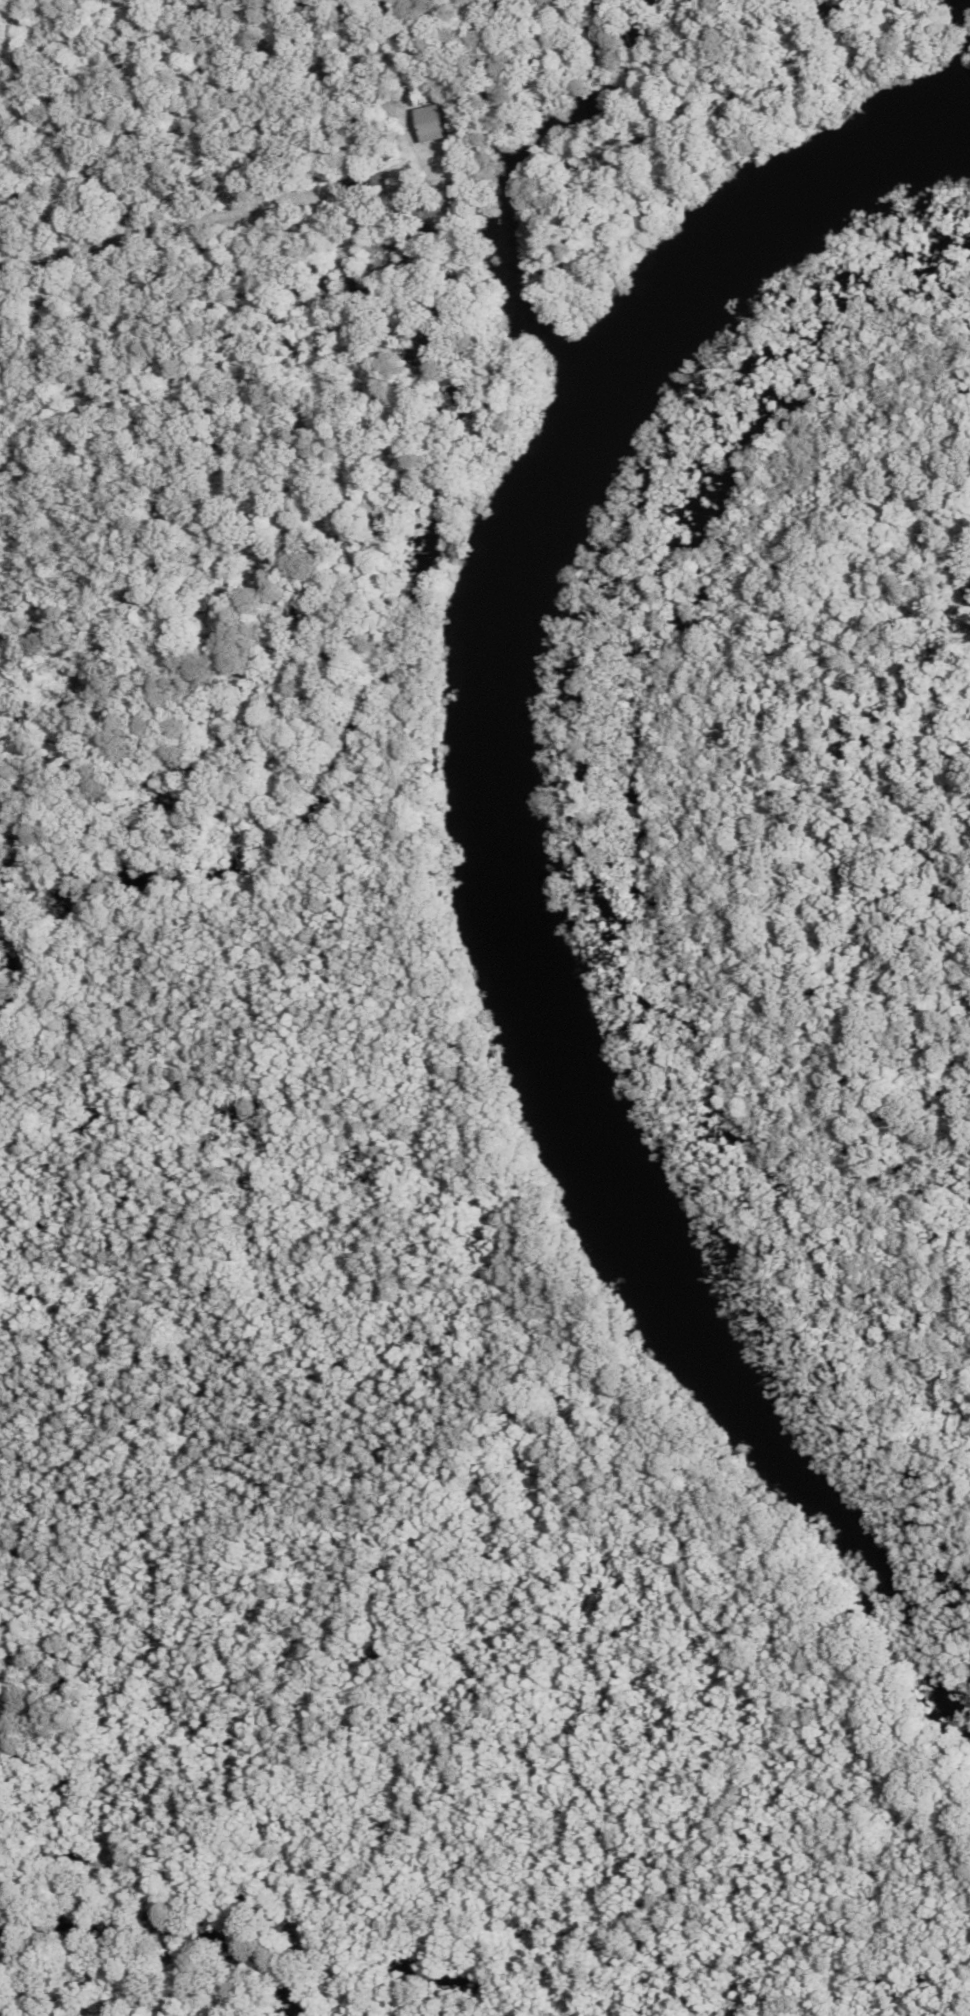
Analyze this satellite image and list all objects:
road: (278, 49)
building: (435, 123)

